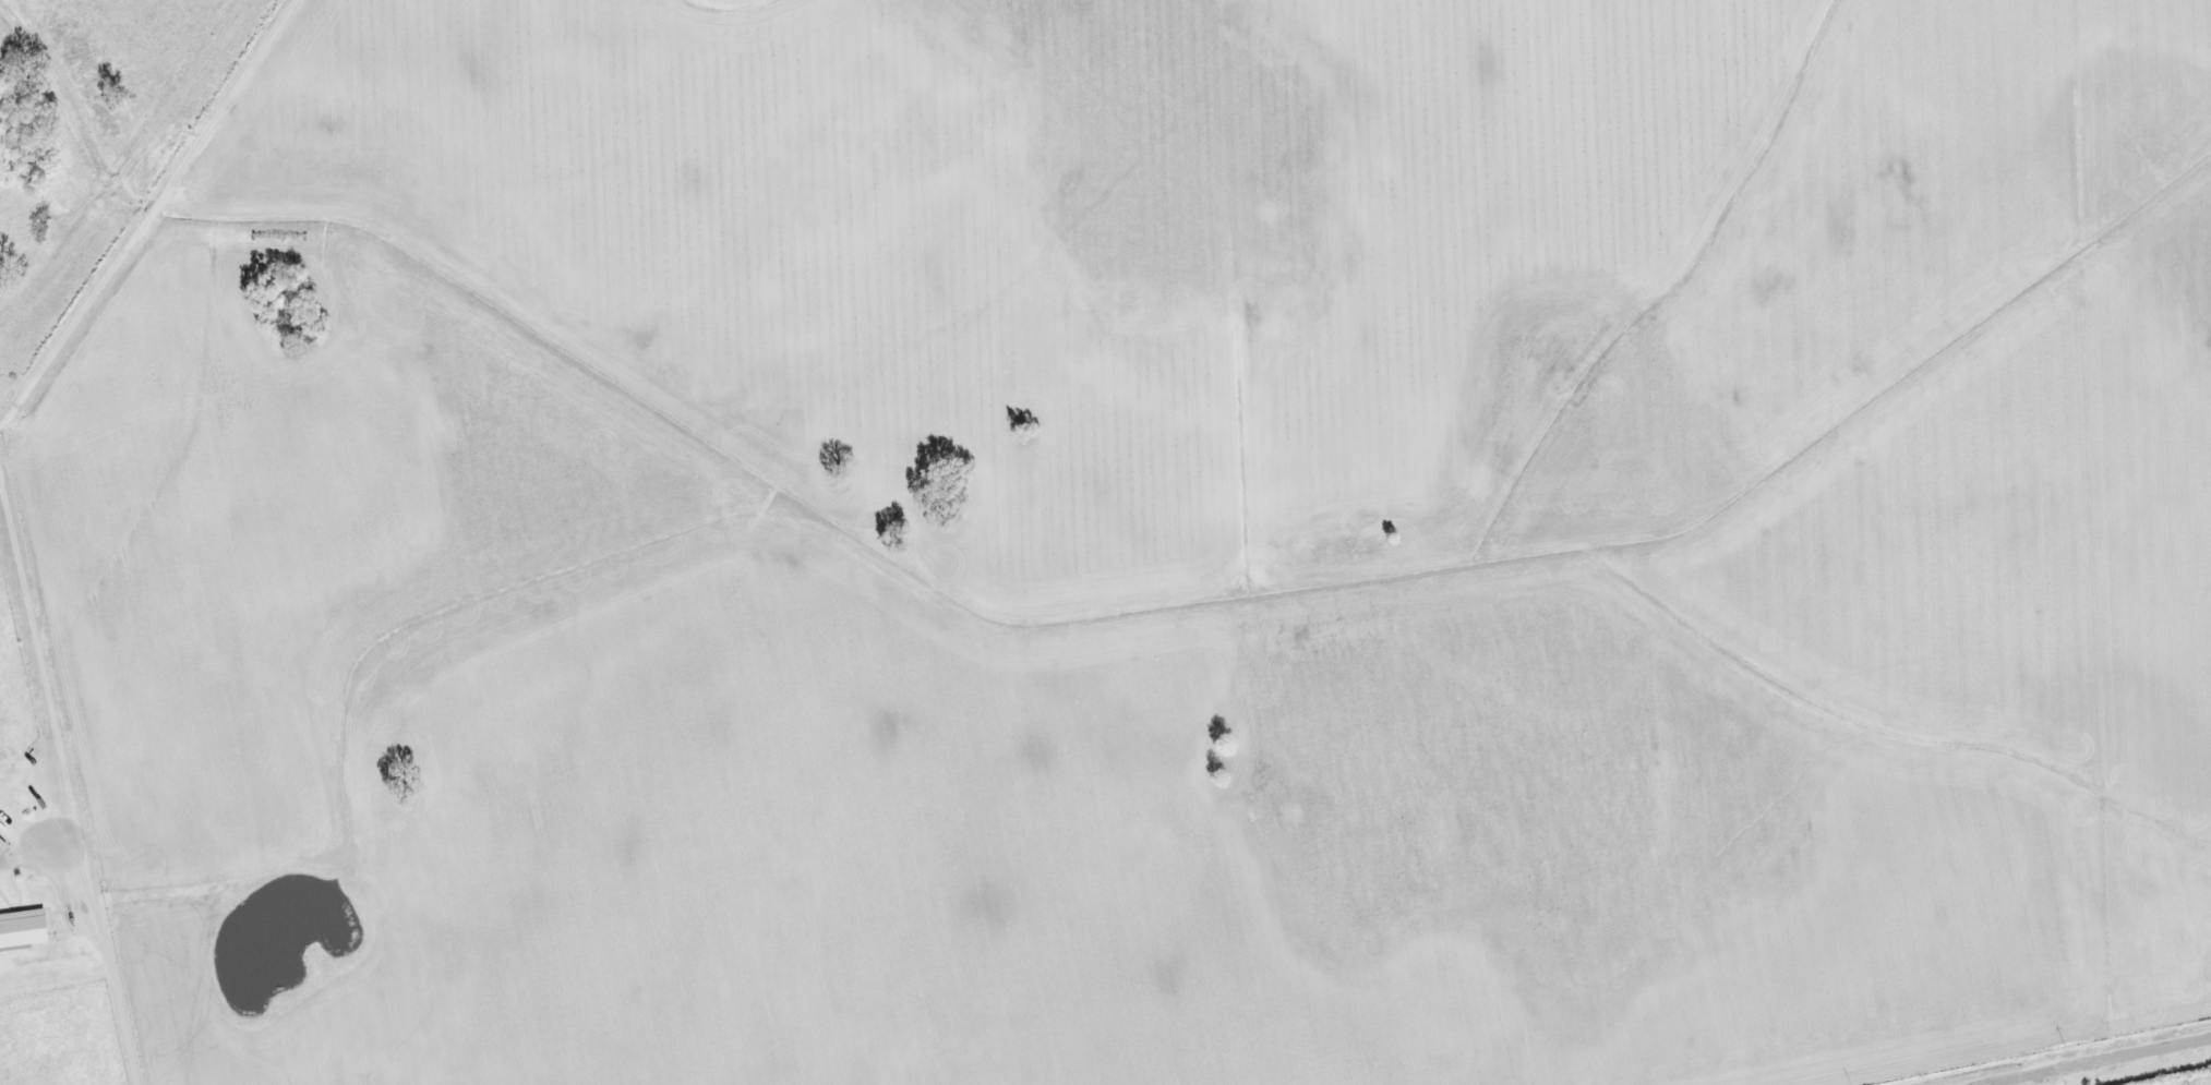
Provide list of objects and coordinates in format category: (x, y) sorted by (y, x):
building: (22, 935)
road: (107, 968)
road: (2110, 1064)

